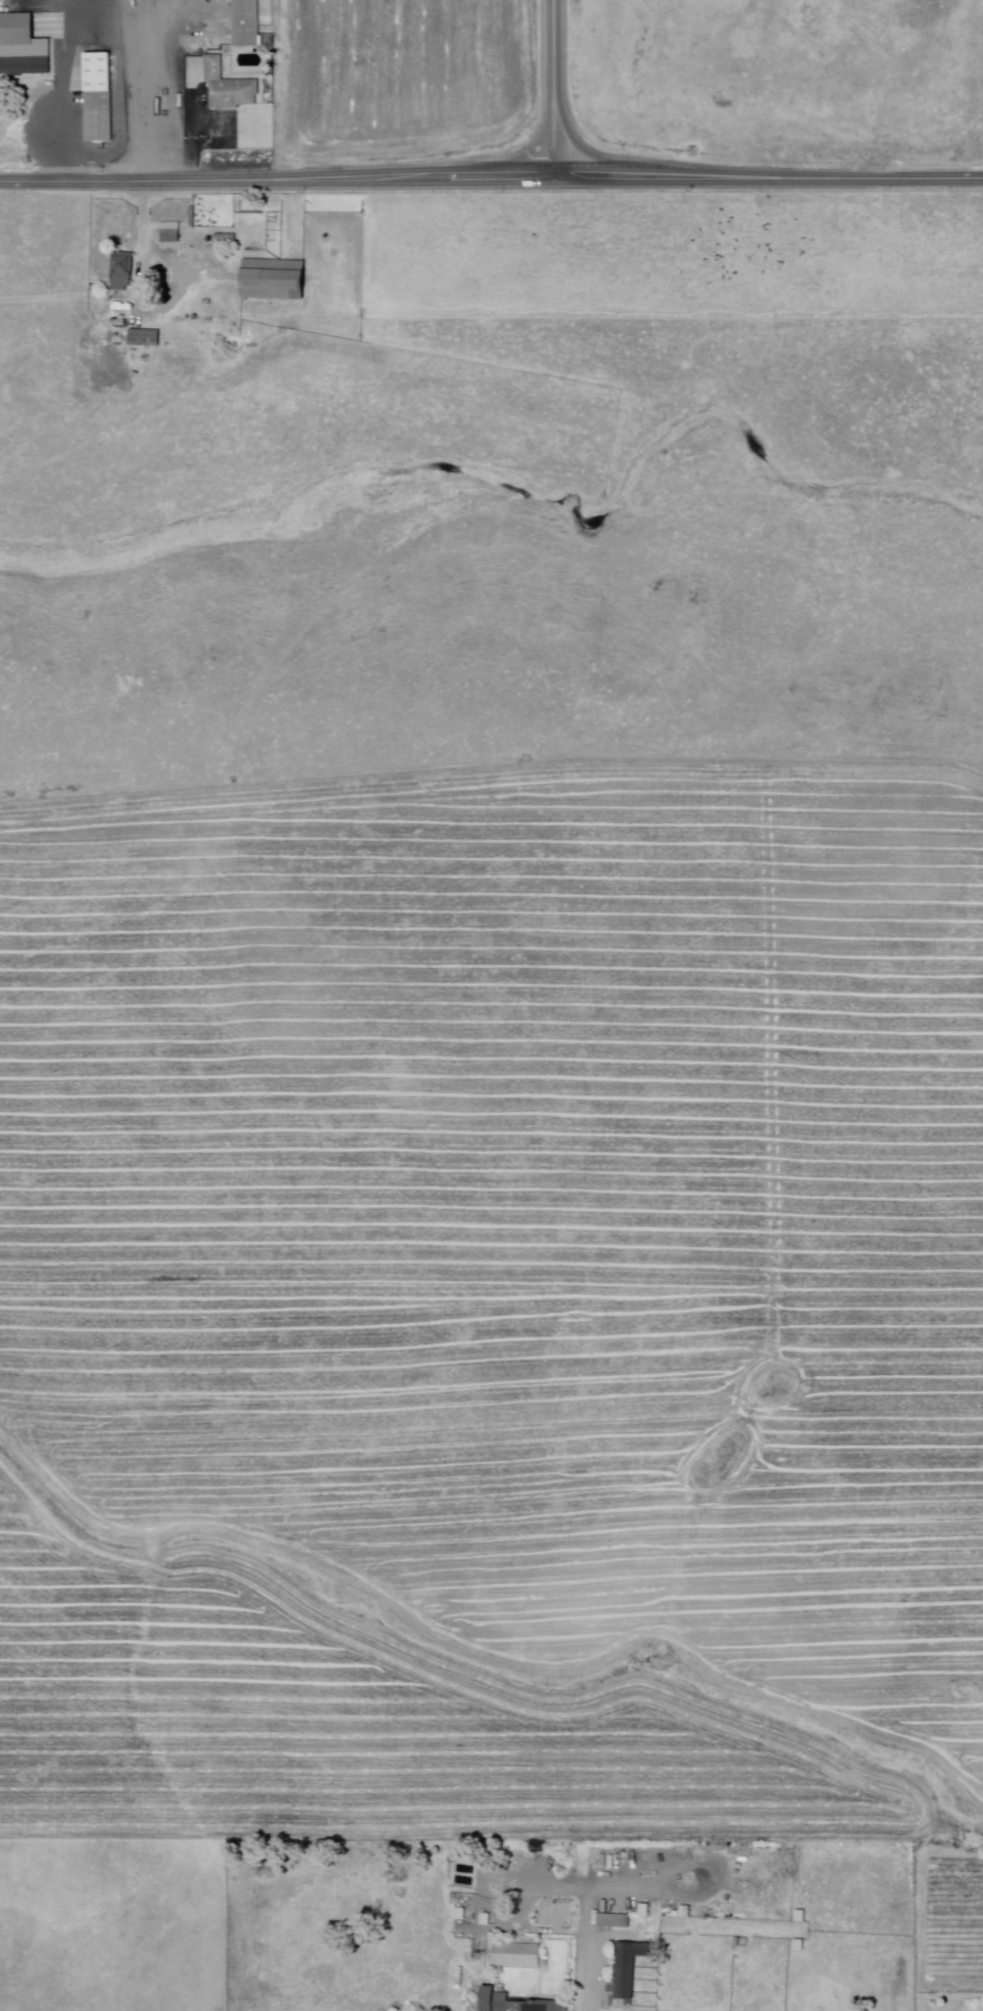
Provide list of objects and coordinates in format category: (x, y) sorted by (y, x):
building: (246, 23)
building: (22, 47)
crop: (404, 77)
crop: (783, 79)
building: (229, 88)
road: (555, 88)
building: (99, 98)
road: (491, 177)
building: (171, 233)
building: (225, 241)
building: (123, 272)
building: (274, 281)
building: (145, 339)
crop: (495, 1304)
storage tank: (457, 1848)
storage tank: (465, 1848)
building: (468, 1859)
building: (466, 1870)
building: (465, 1881)
building: (645, 1910)
building: (686, 1912)
building: (461, 1914)
building: (552, 1914)
building: (802, 1917)
building: (486, 1920)
building: (615, 1921)
road: (591, 1932)
building: (739, 1942)
building: (801, 1946)
building: (518, 1956)
building: (547, 1964)
building: (630, 1967)
building: (517, 2003)
building: (421, 2009)

